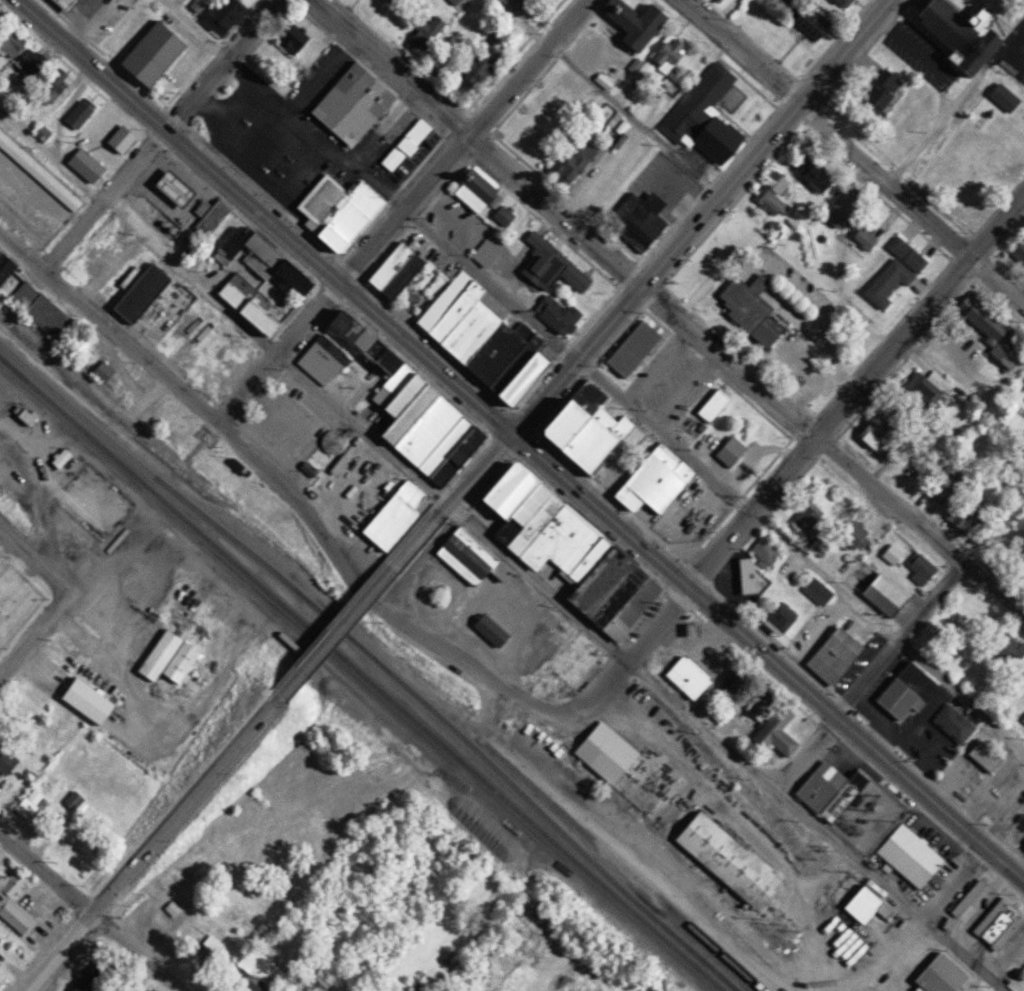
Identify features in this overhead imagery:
building: (717, 0)
building: (455, 1)
building: (395, 2)
building: (835, 2)
building: (847, 3)
building: (69, 5)
building: (516, 5)
road: (723, 13)
building: (219, 15)
building: (631, 20)
road: (520, 22)
building: (811, 23)
building: (426, 29)
building: (958, 32)
building: (291, 37)
building: (665, 49)
building: (151, 52)
building: (439, 55)
building: (634, 61)
building: (477, 64)
building: (645, 66)
road: (387, 68)
building: (600, 78)
building: (877, 92)
building: (1002, 95)
building: (350, 104)
building: (77, 111)
building: (700, 113)
road: (632, 119)
building: (541, 122)
road: (161, 136)
building: (121, 139)
road: (177, 141)
building: (402, 144)
road: (851, 151)
building: (572, 159)
building: (85, 163)
building: (813, 170)
building: (47, 184)
building: (472, 188)
building: (772, 190)
building: (180, 191)
building: (842, 204)
building: (769, 206)
road: (400, 211)
building: (500, 213)
building: (342, 214)
building: (637, 216)
building: (210, 218)
building: (775, 226)
building: (861, 235)
building: (486, 248)
building: (903, 251)
building: (1023, 252)
building: (1, 255)
building: (271, 263)
building: (550, 264)
building: (393, 267)
road: (656, 268)
building: (883, 279)
park: (417, 287)
building: (142, 295)
building: (749, 307)
building: (254, 311)
building: (557, 312)
building: (43, 313)
road: (109, 328)
building: (479, 333)
building: (994, 338)
building: (630, 346)
building: (320, 355)
road: (595, 373)
road: (743, 379)
building: (927, 394)
building: (710, 403)
building: (413, 409)
building: (582, 425)
road: (824, 428)
building: (876, 437)
building: (728, 449)
building: (63, 460)
building: (652, 478)
building: (390, 512)
building: (963, 519)
building: (806, 522)
building: (559, 540)
building: (818, 551)
building: (766, 552)
building: (463, 553)
road: (499, 553)
road: (33, 555)
building: (892, 557)
building: (922, 581)
road: (681, 582)
building: (817, 594)
building: (887, 599)
building: (3, 620)
road: (396, 622)
building: (786, 623)
building: (487, 627)
road: (34, 635)
road: (900, 641)
building: (1023, 648)
building: (165, 655)
building: (839, 658)
railway: (383, 670)
railway: (359, 674)
building: (685, 674)
building: (735, 684)
building: (910, 694)
building: (84, 698)
road: (269, 707)
building: (953, 726)
building: (773, 727)
road: (805, 755)
building: (608, 756)
building: (5, 757)
building: (987, 759)
building: (828, 787)
building: (72, 799)
building: (25, 802)
road: (1004, 823)
building: (906, 851)
building: (724, 856)
railway: (618, 864)
road: (953, 885)
building: (863, 899)
building: (13, 902)
building: (965, 906)
road: (92, 911)
building: (996, 921)
road: (70, 935)
building: (938, 972)

